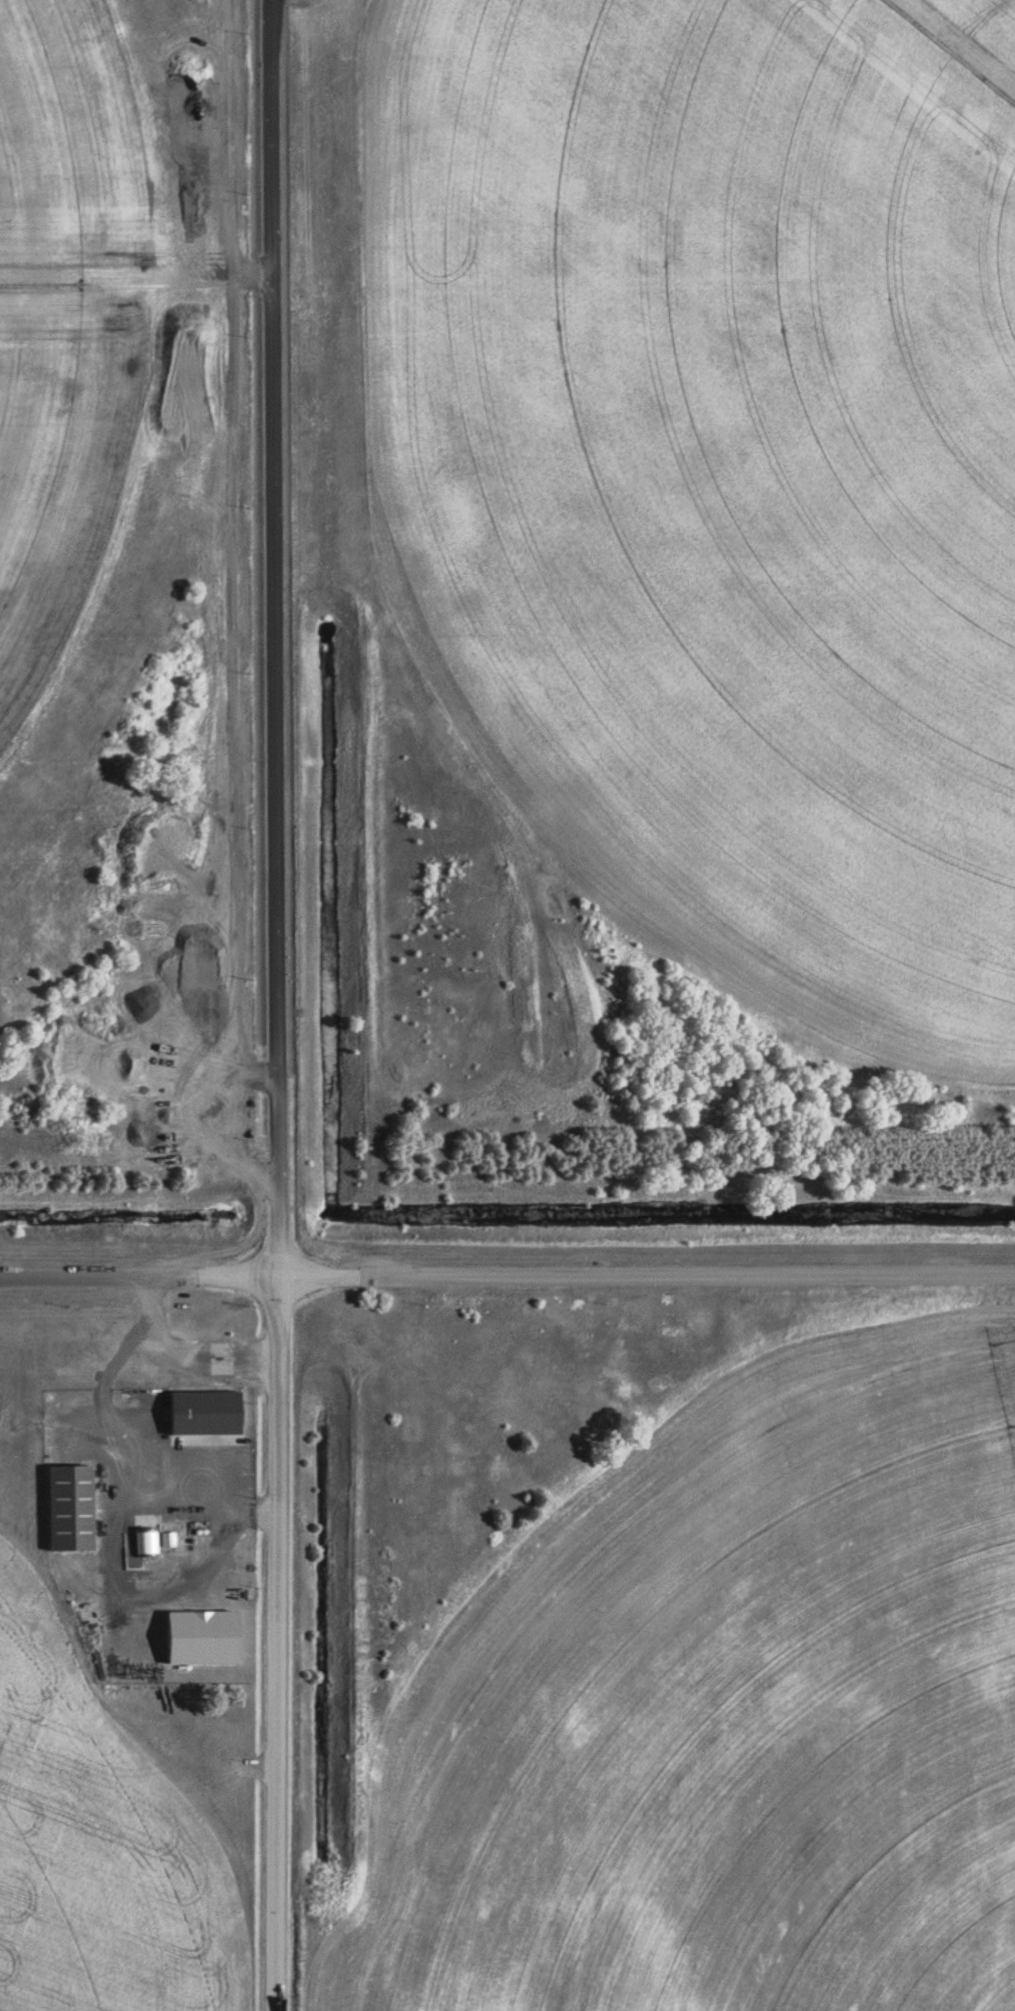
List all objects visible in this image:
road: (273, 636)
wastewater plant: (507, 1005)
road: (507, 1269)
road: (274, 1313)
road: (261, 1354)
building: (205, 1411)
road: (191, 1487)
building: (70, 1507)
building: (202, 1637)

